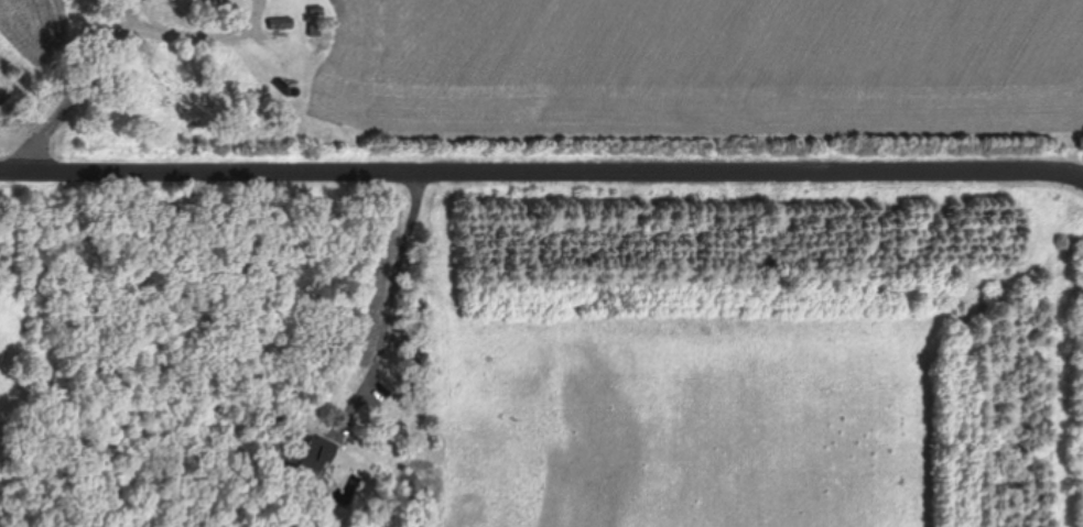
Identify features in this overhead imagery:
building: (228, 2)
road: (256, 4)
road: (117, 46)
road: (543, 169)
road: (396, 299)
building: (313, 453)

